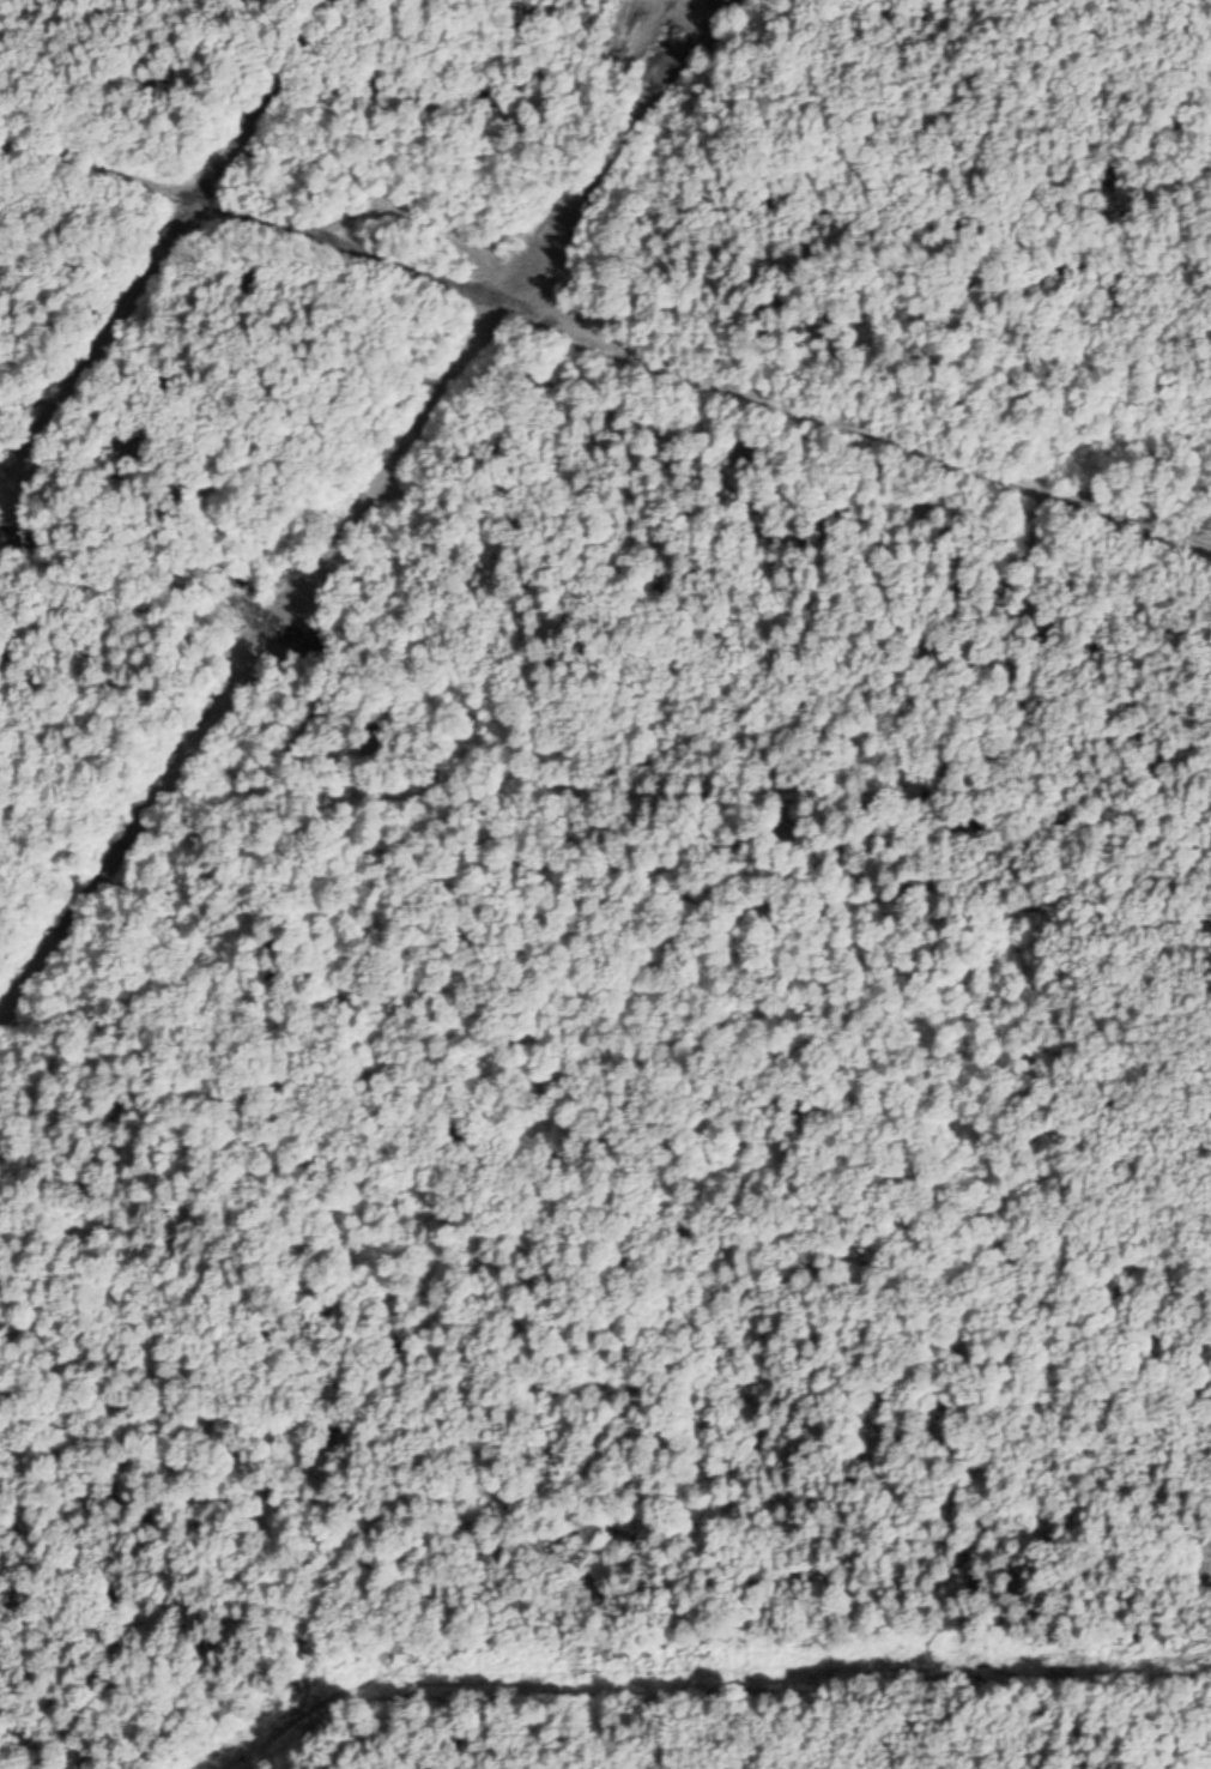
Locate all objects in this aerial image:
road: (604, 340)
road: (363, 505)

